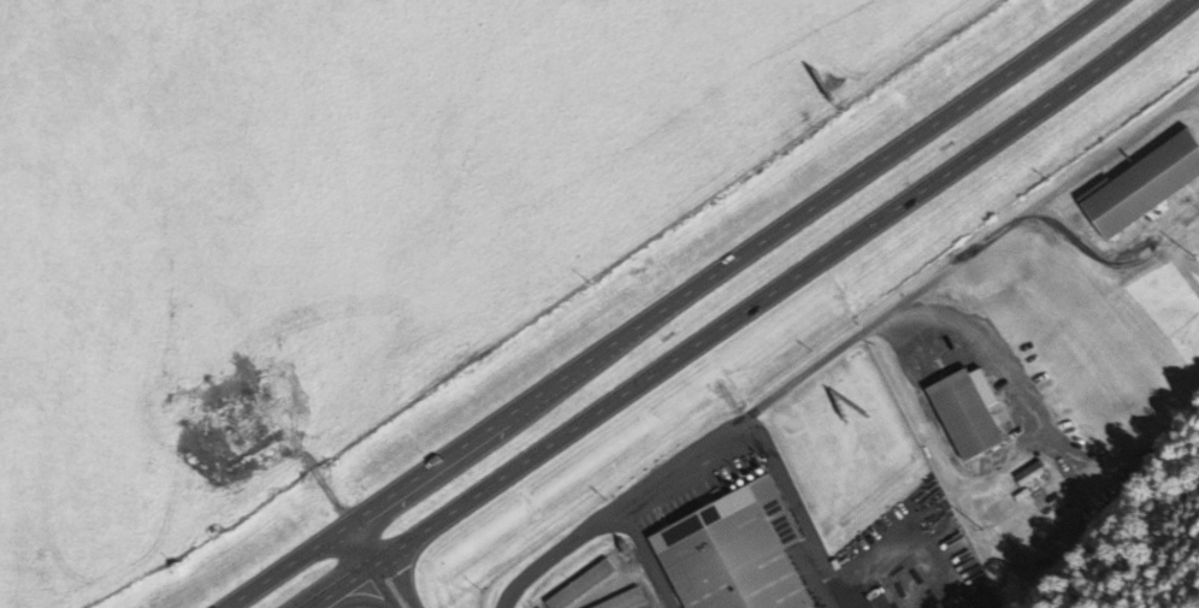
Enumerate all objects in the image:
building: (1148, 188)
road: (663, 303)
road: (749, 307)
building: (974, 414)
power tower: (984, 529)
building: (740, 554)
road: (380, 562)
building: (586, 588)
building: (630, 601)

